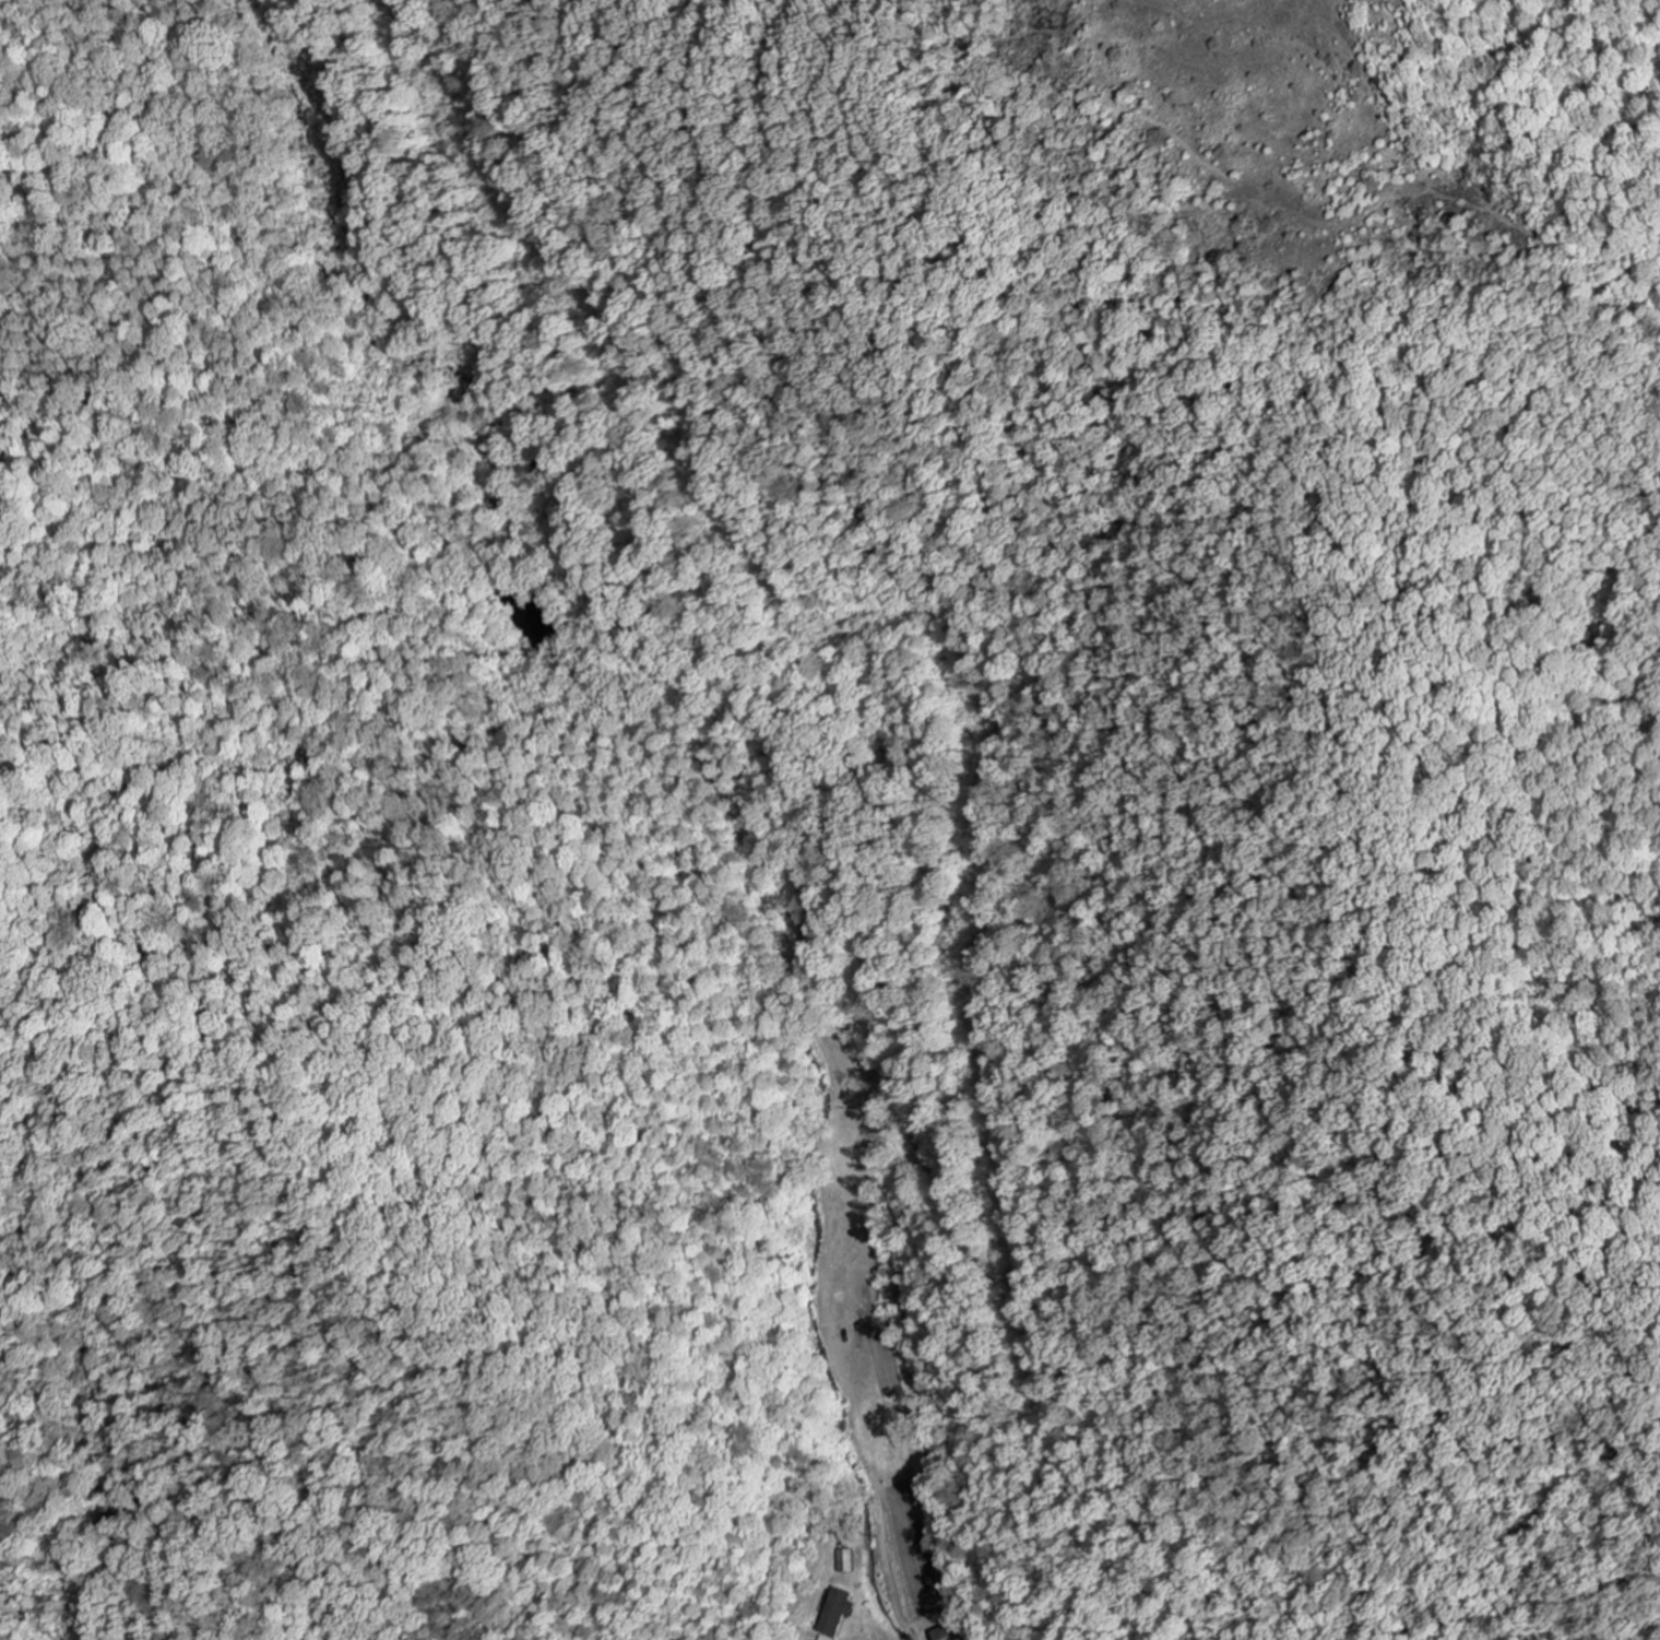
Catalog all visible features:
building: (847, 1560)
building: (838, 1612)
road: (25, 1623)
building: (950, 1632)

